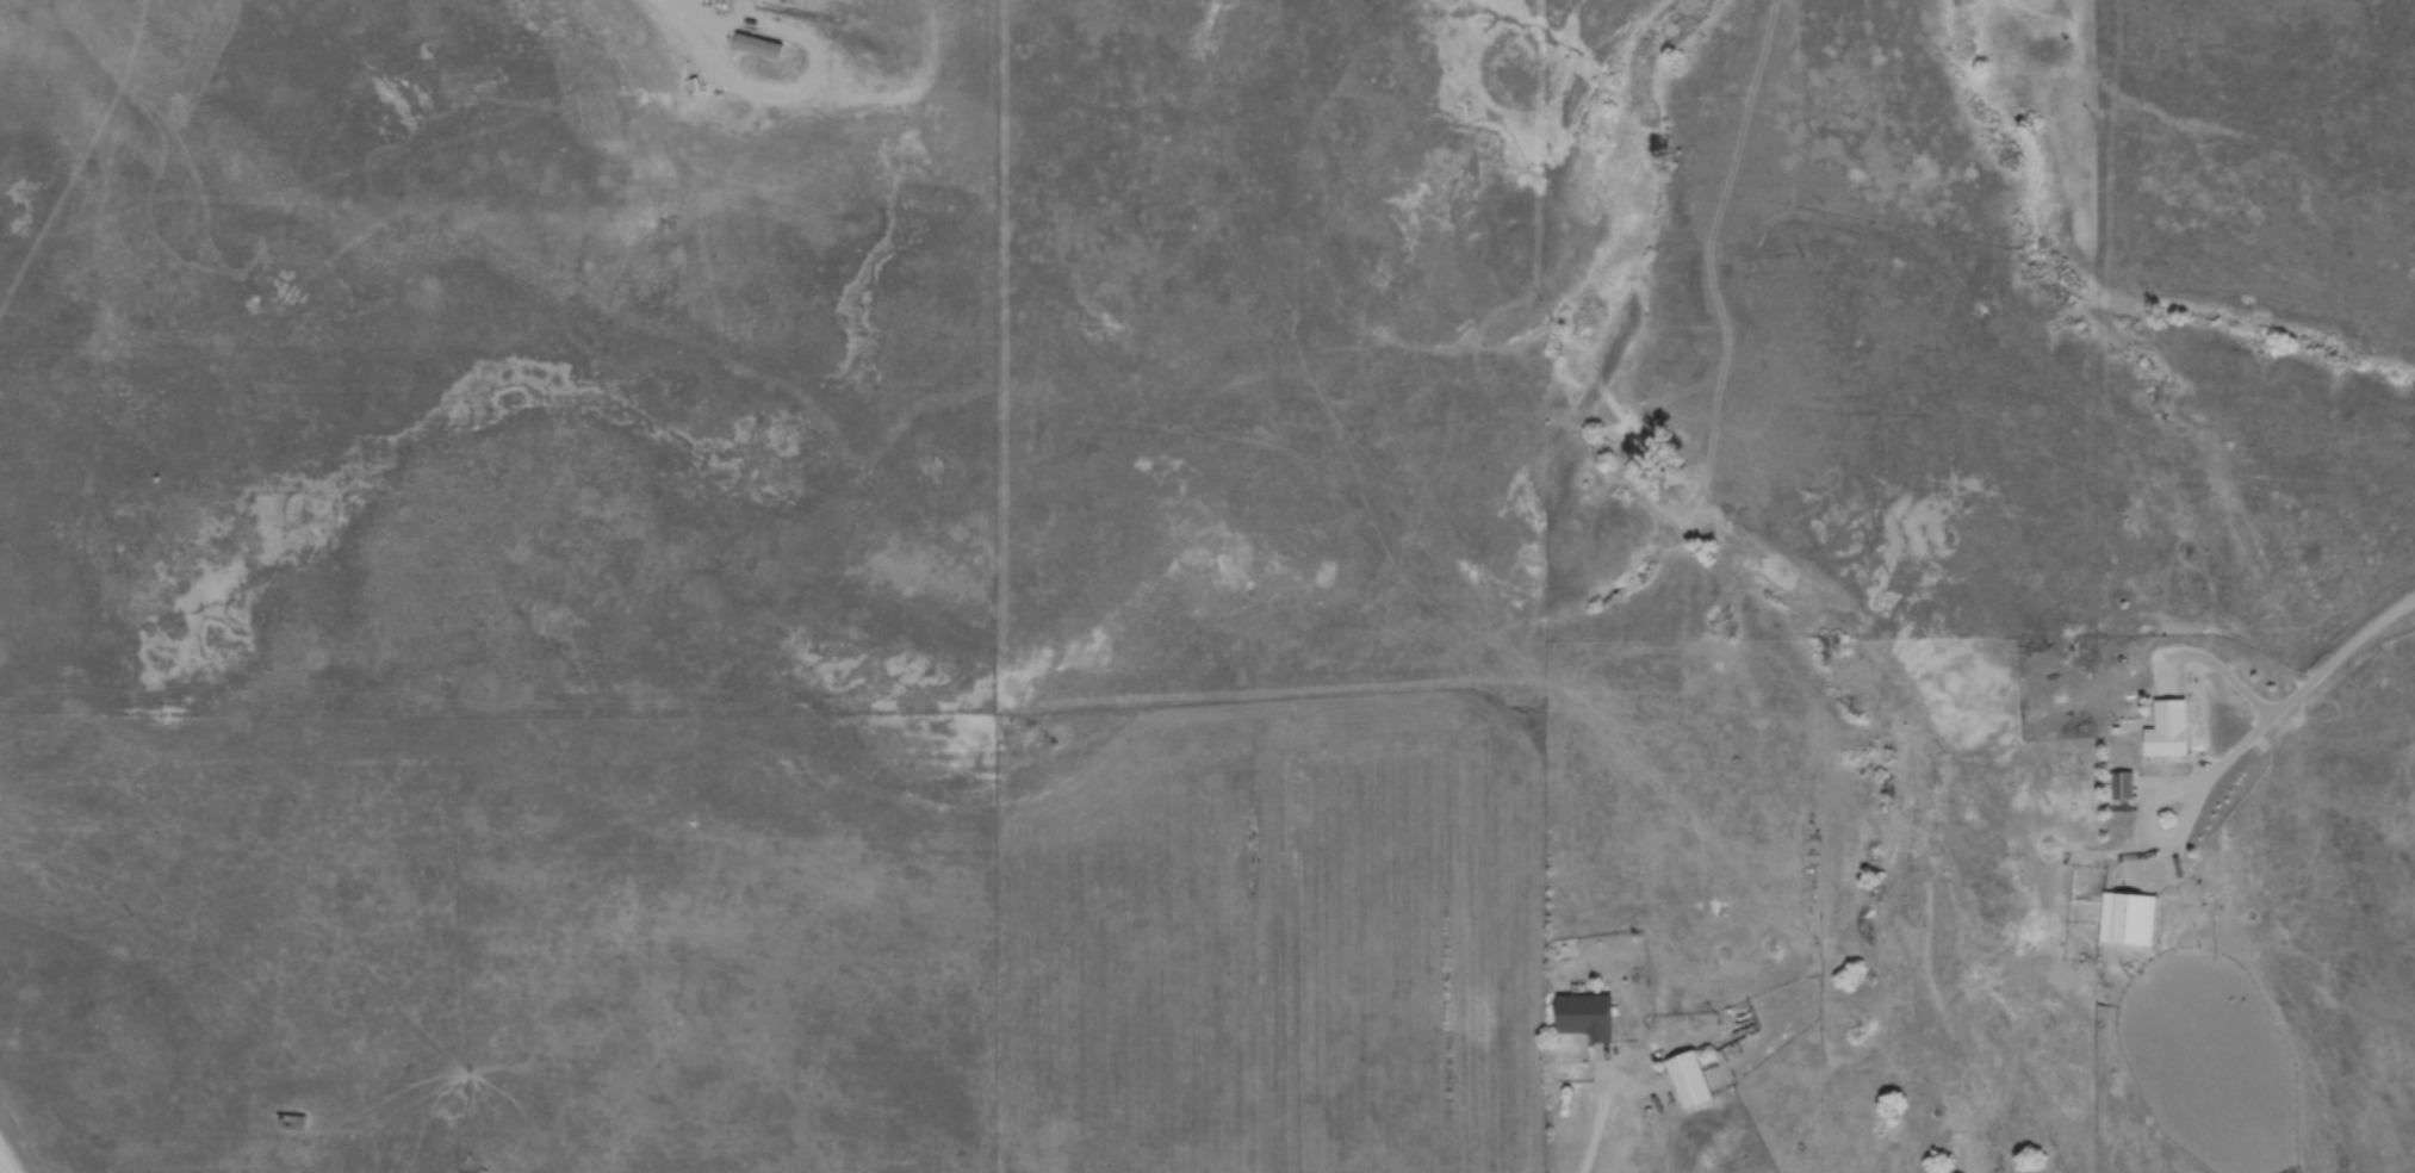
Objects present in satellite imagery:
building: (2169, 733)
building: (2123, 789)
building: (2129, 923)
building: (1585, 1020)
building: (1690, 1085)
road: (4, 1165)

